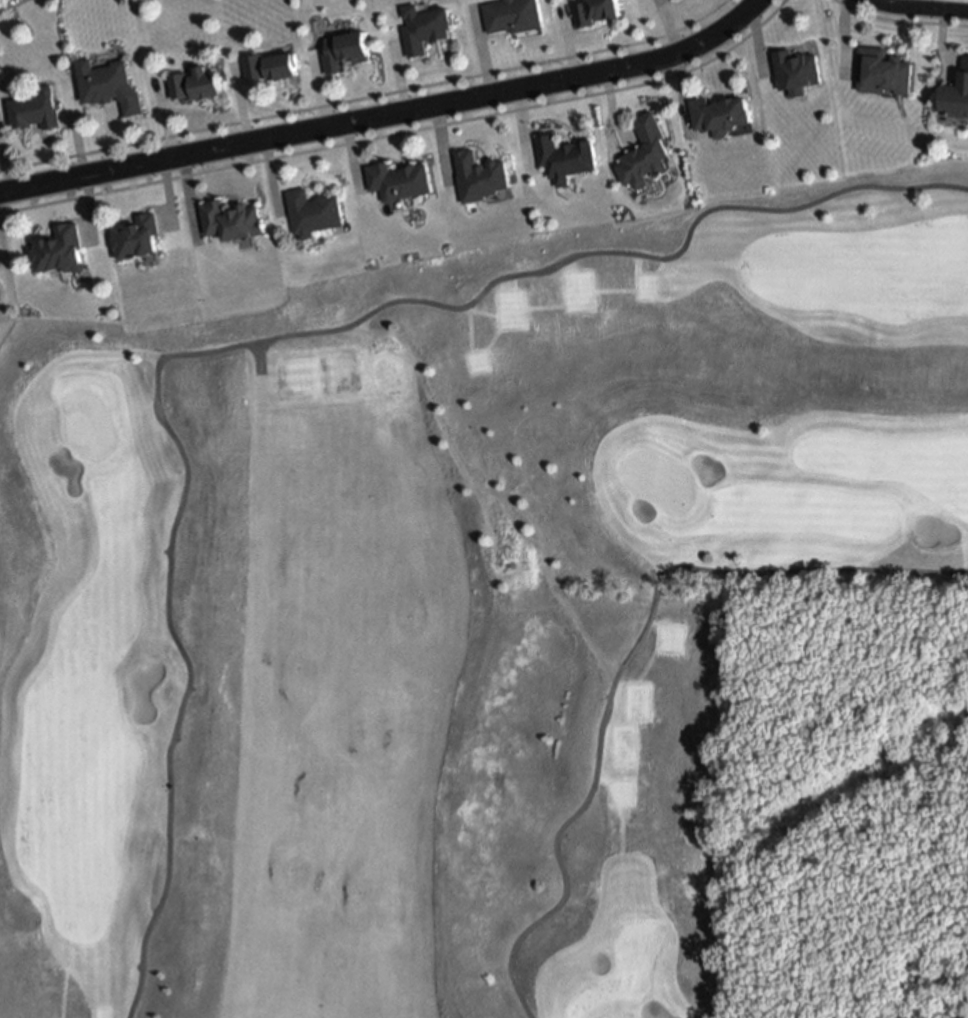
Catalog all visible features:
building: (671, 0)
road: (917, 7)
building: (591, 8)
building: (509, 13)
building: (421, 24)
building: (342, 47)
building: (268, 62)
building: (795, 67)
building: (881, 67)
building: (193, 79)
building: (108, 82)
building: (956, 89)
building: (35, 107)
building: (718, 111)
road: (384, 113)
road: (401, 133)
building: (644, 150)
building: (563, 154)
building: (479, 172)
building: (397, 178)
building: (313, 209)
building: (232, 217)
building: (137, 234)
building: (60, 247)
road: (249, 344)
park: (83, 426)
park: (654, 480)
park: (448, 603)
road: (622, 661)

